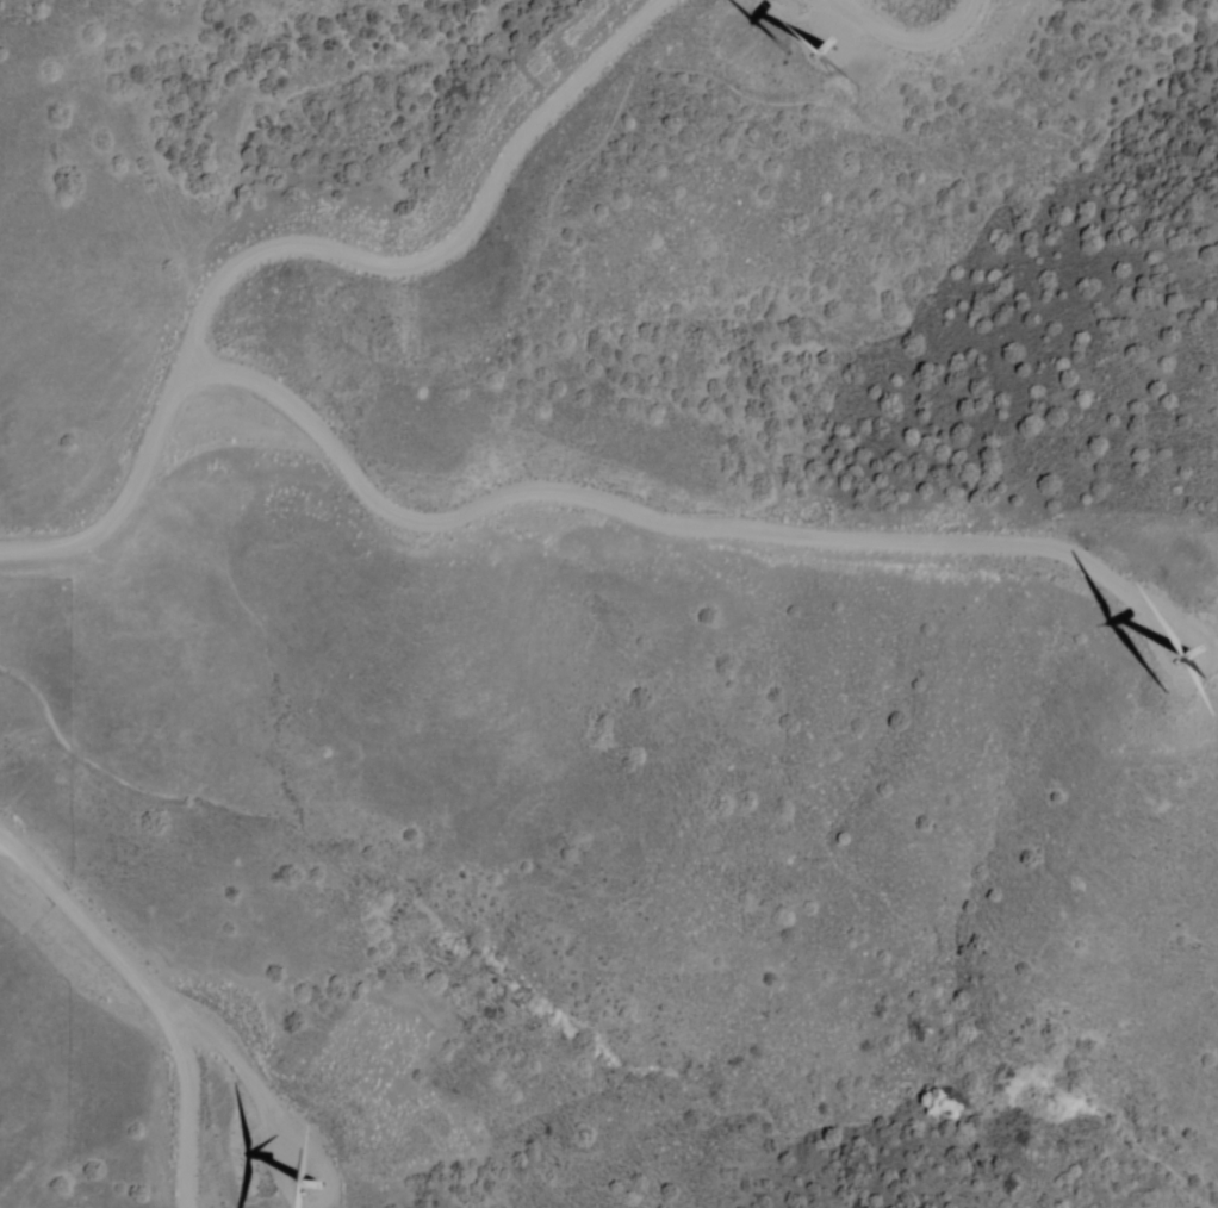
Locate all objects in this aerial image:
road: (906, 27)
wind turbine: (832, 42)
road: (310, 241)
road: (602, 496)
wind turbine: (1157, 642)
road: (160, 991)
wind turbine: (313, 1153)

